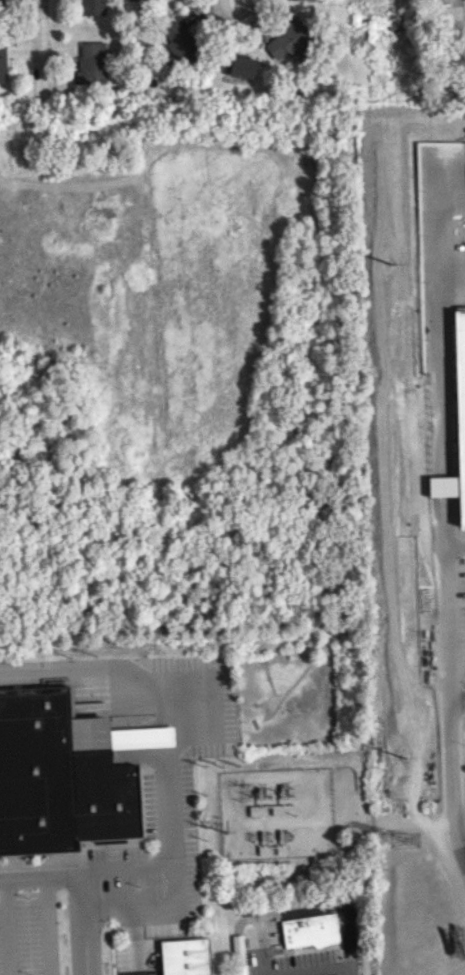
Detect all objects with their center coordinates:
building: (2, 1)
building: (90, 7)
road: (41, 20)
road: (237, 26)
building: (287, 39)
building: (180, 43)
building: (2, 63)
building: (91, 64)
building: (242, 67)
power tower: (389, 263)
road: (438, 382)
building: (459, 411)
building: (442, 485)
parking lot: (442, 607)
road: (440, 610)
road: (79, 666)
road: (457, 697)
power tower: (402, 758)
road: (451, 771)
building: (65, 773)
parking lot: (165, 792)
road: (169, 810)
power substation: (274, 811)
power tower: (405, 843)
road: (463, 850)
road: (123, 868)
road: (39, 884)
road: (329, 905)
road: (241, 920)
parking lot: (28, 922)
road: (81, 928)
road: (47, 929)
road: (9, 930)
building: (310, 930)
gas station: (310, 930)
road: (131, 945)
road: (257, 945)
building: (237, 948)
road: (238, 954)
building: (186, 956)
parking lot: (130, 958)
road: (309, 968)
building: (239, 969)
road: (258, 974)

